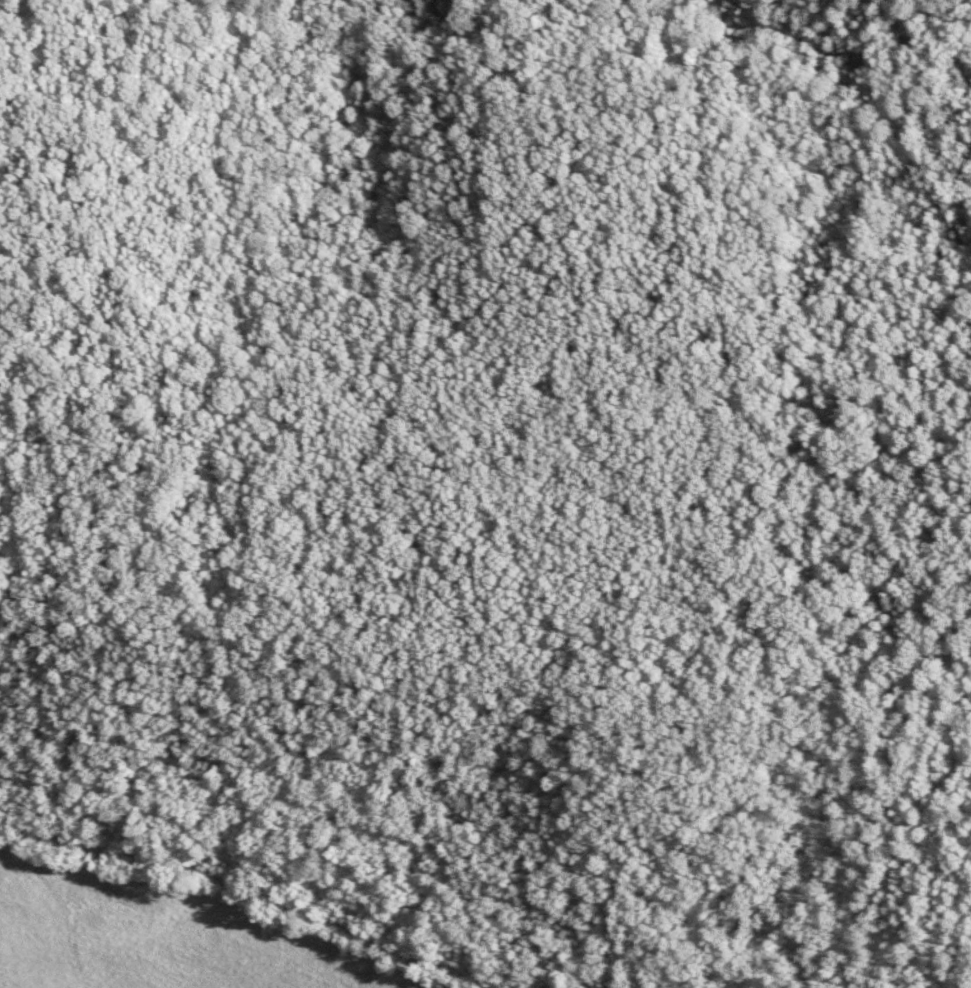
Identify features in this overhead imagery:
road: (248, 893)

